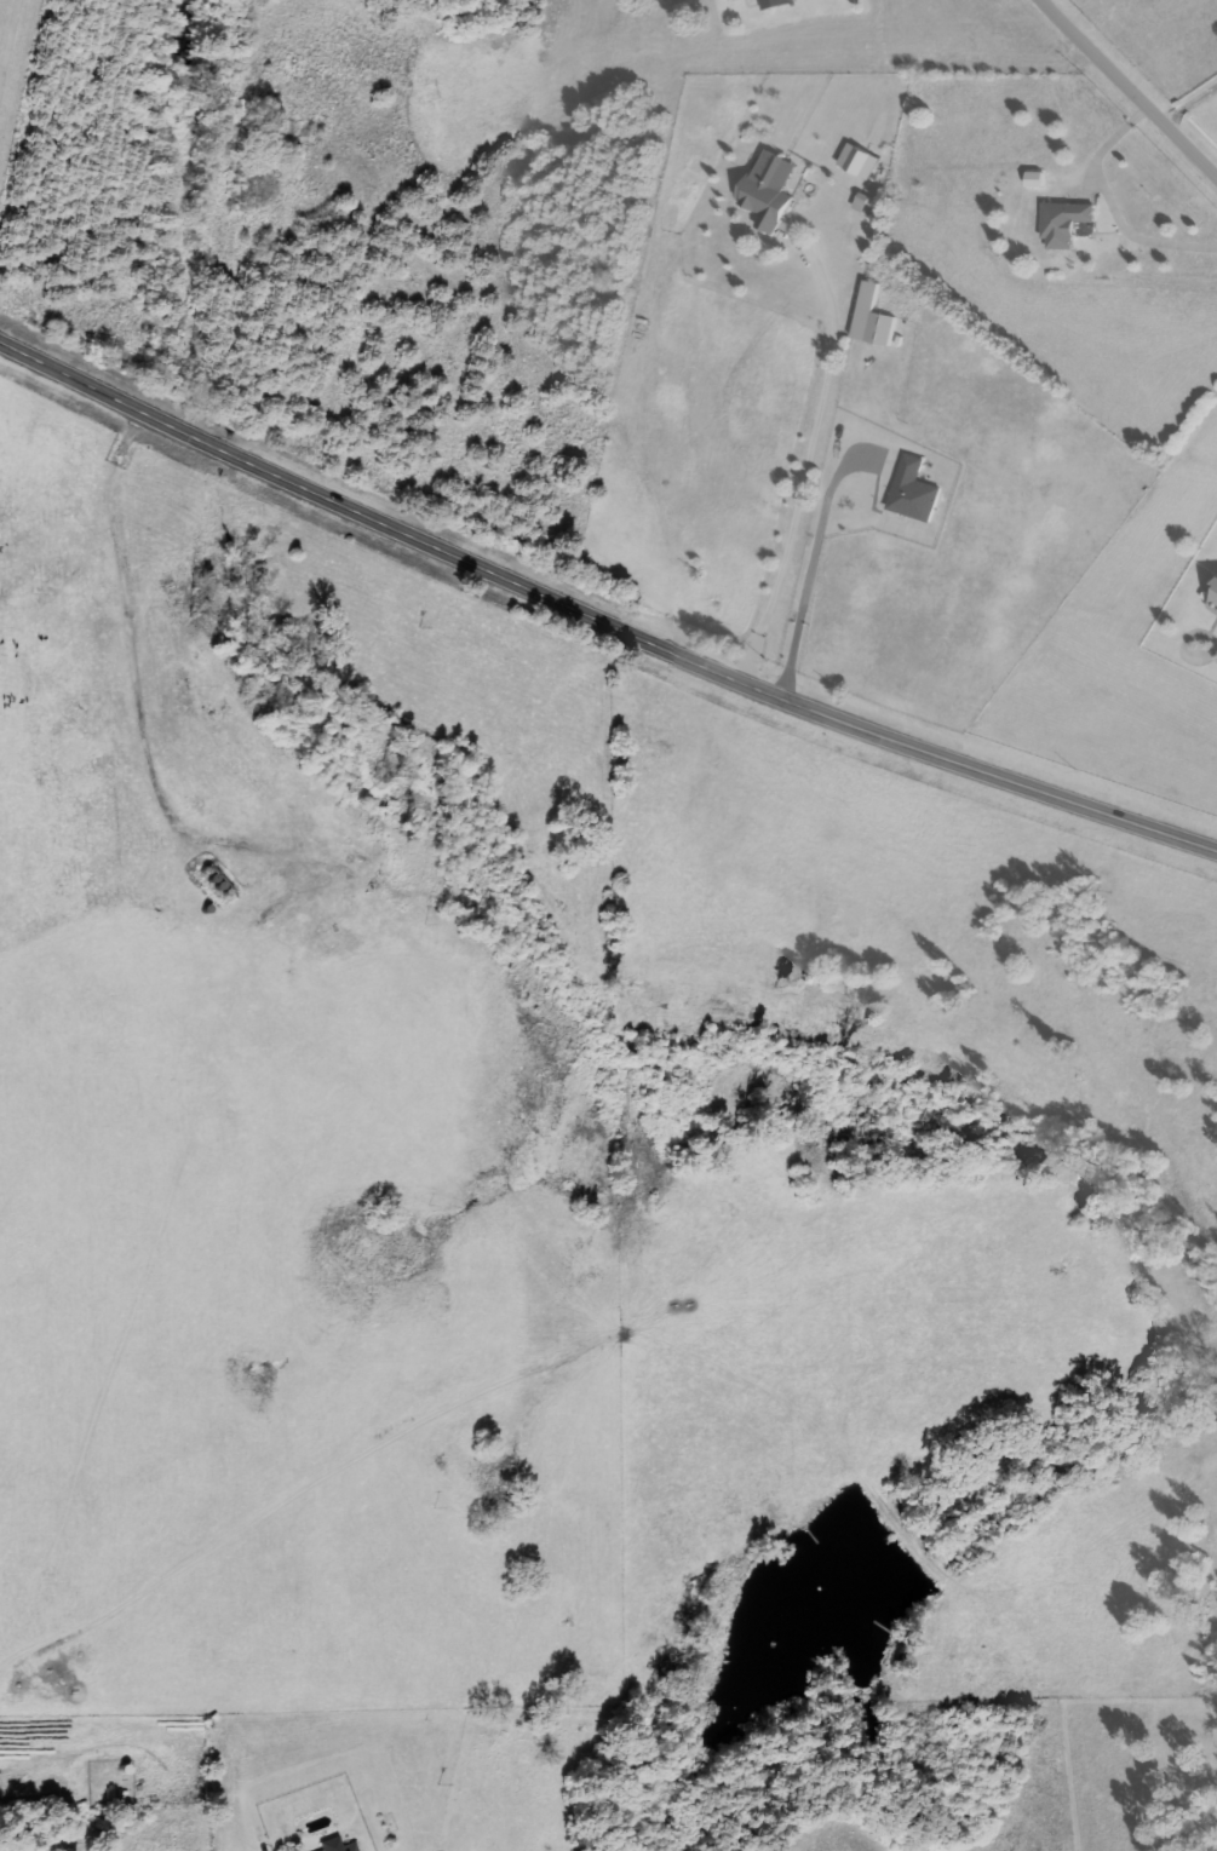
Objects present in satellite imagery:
building: (781, 4)
road: (1126, 91)
building: (863, 161)
building: (1040, 179)
building: (775, 191)
building: (1069, 224)
building: (877, 318)
building: (917, 492)
building: (1211, 596)
road: (598, 607)
building: (349, 1849)
building: (362, 1849)

